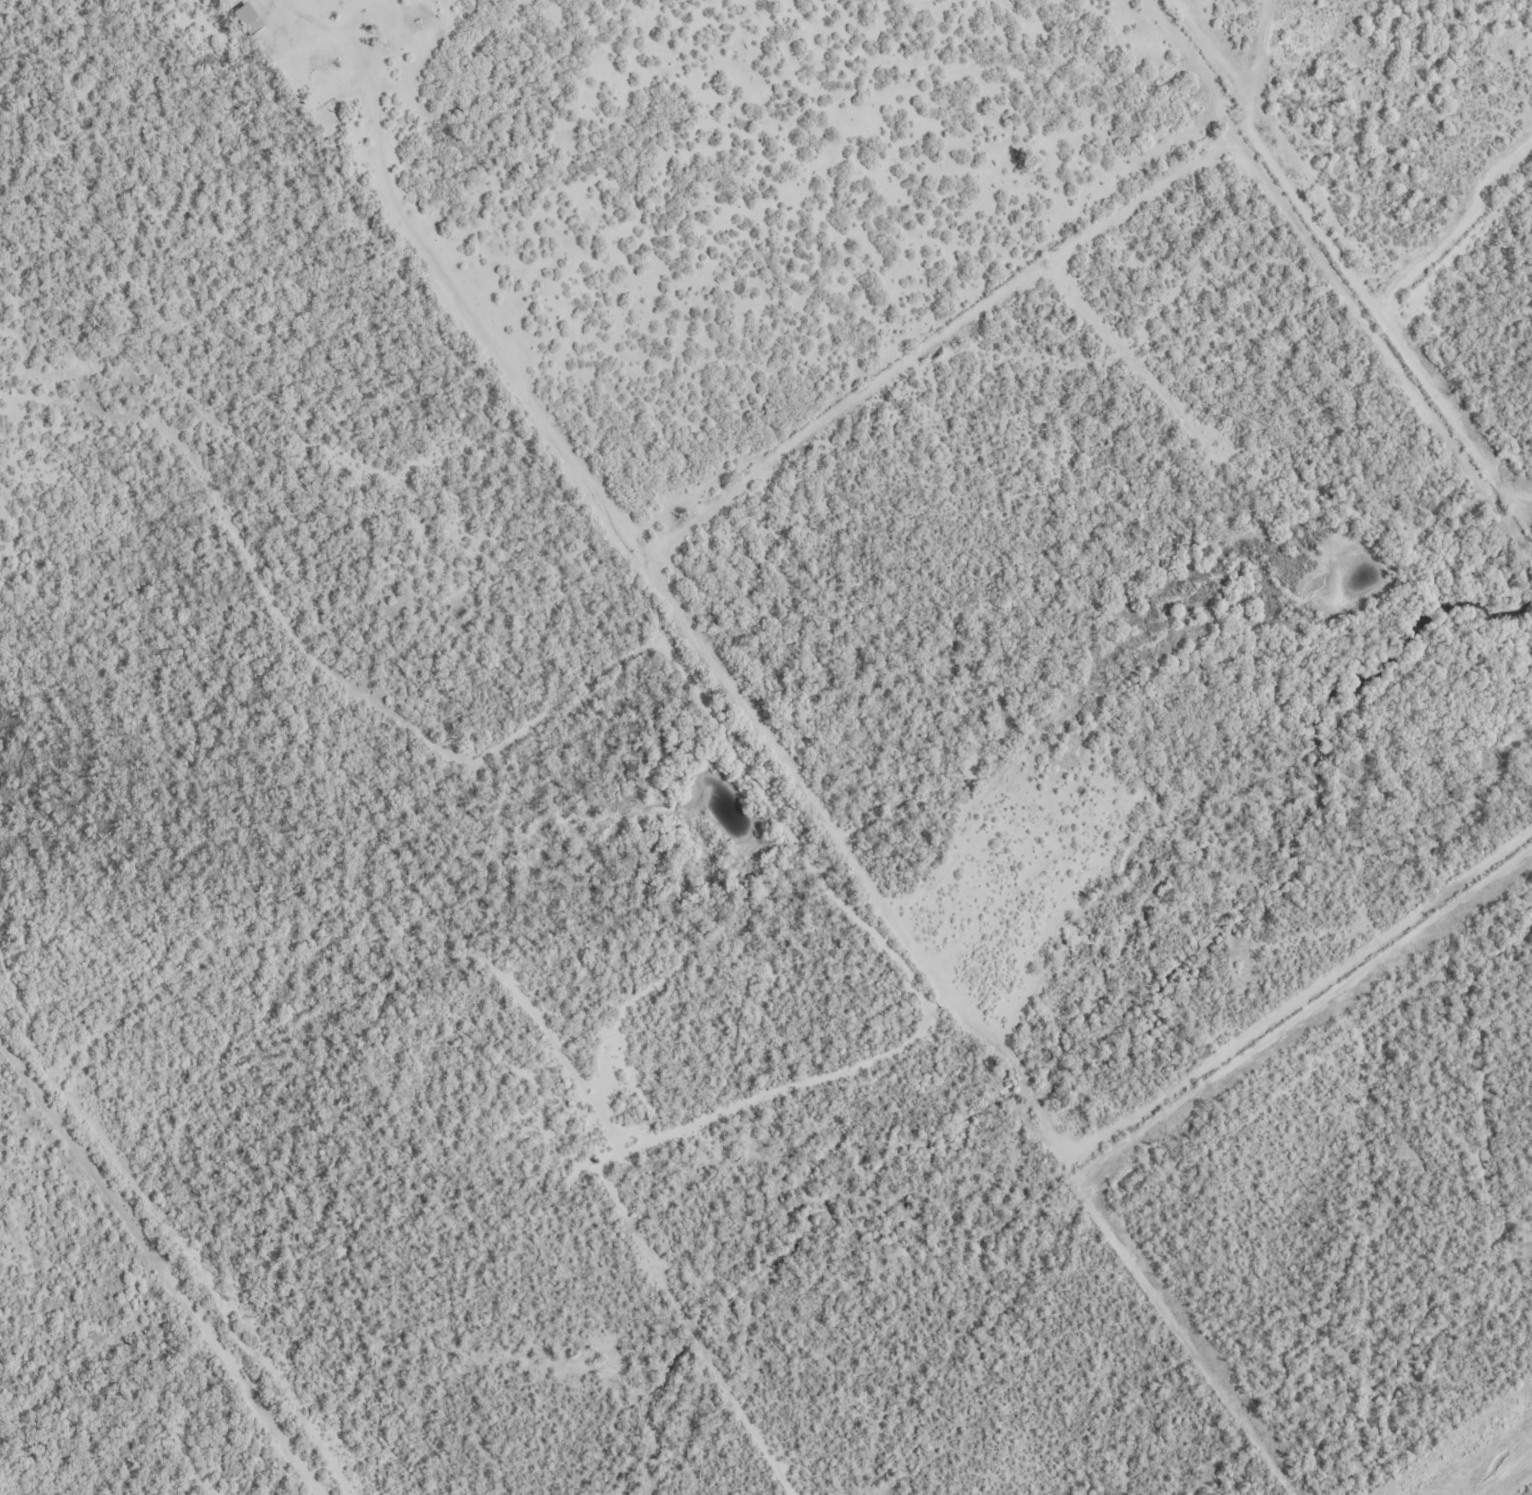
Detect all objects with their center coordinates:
building: (249, 19)
road: (140, 1294)
road: (109, 1419)

